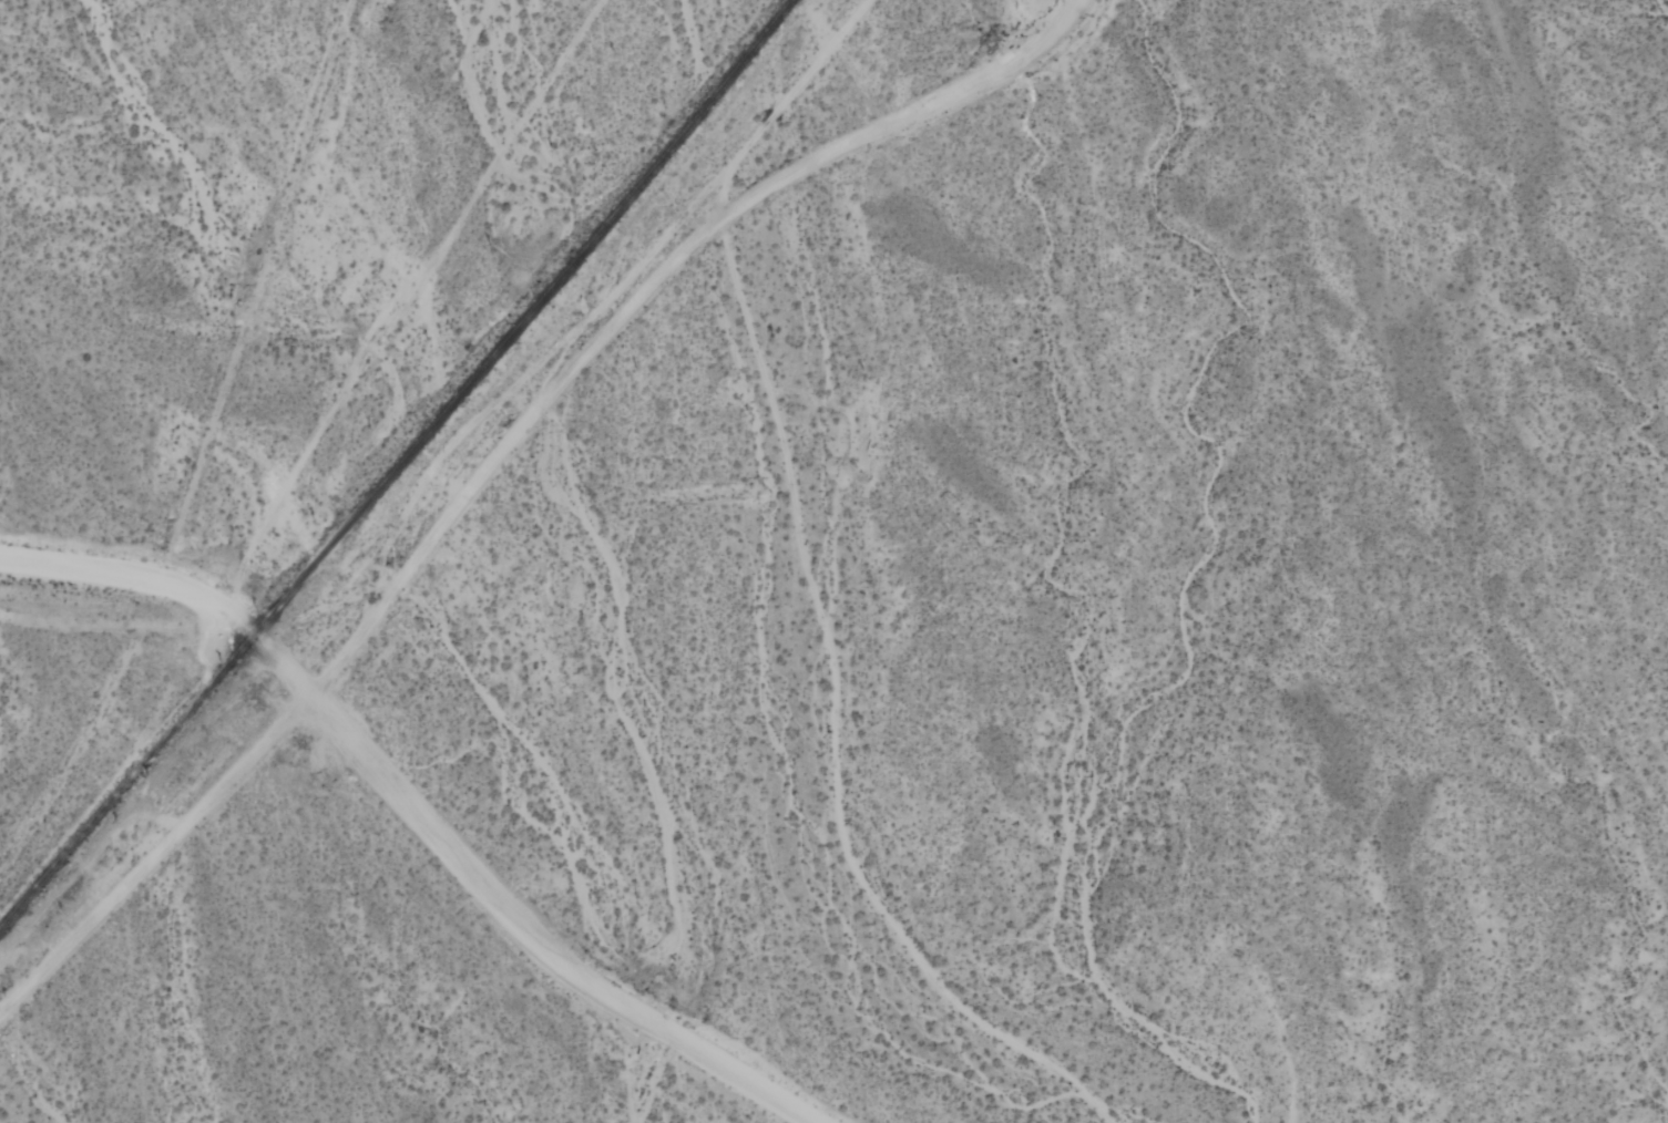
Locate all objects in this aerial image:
road: (904, 119)
road: (400, 300)
railway: (395, 464)
road: (114, 577)
road: (368, 621)
road: (489, 895)

